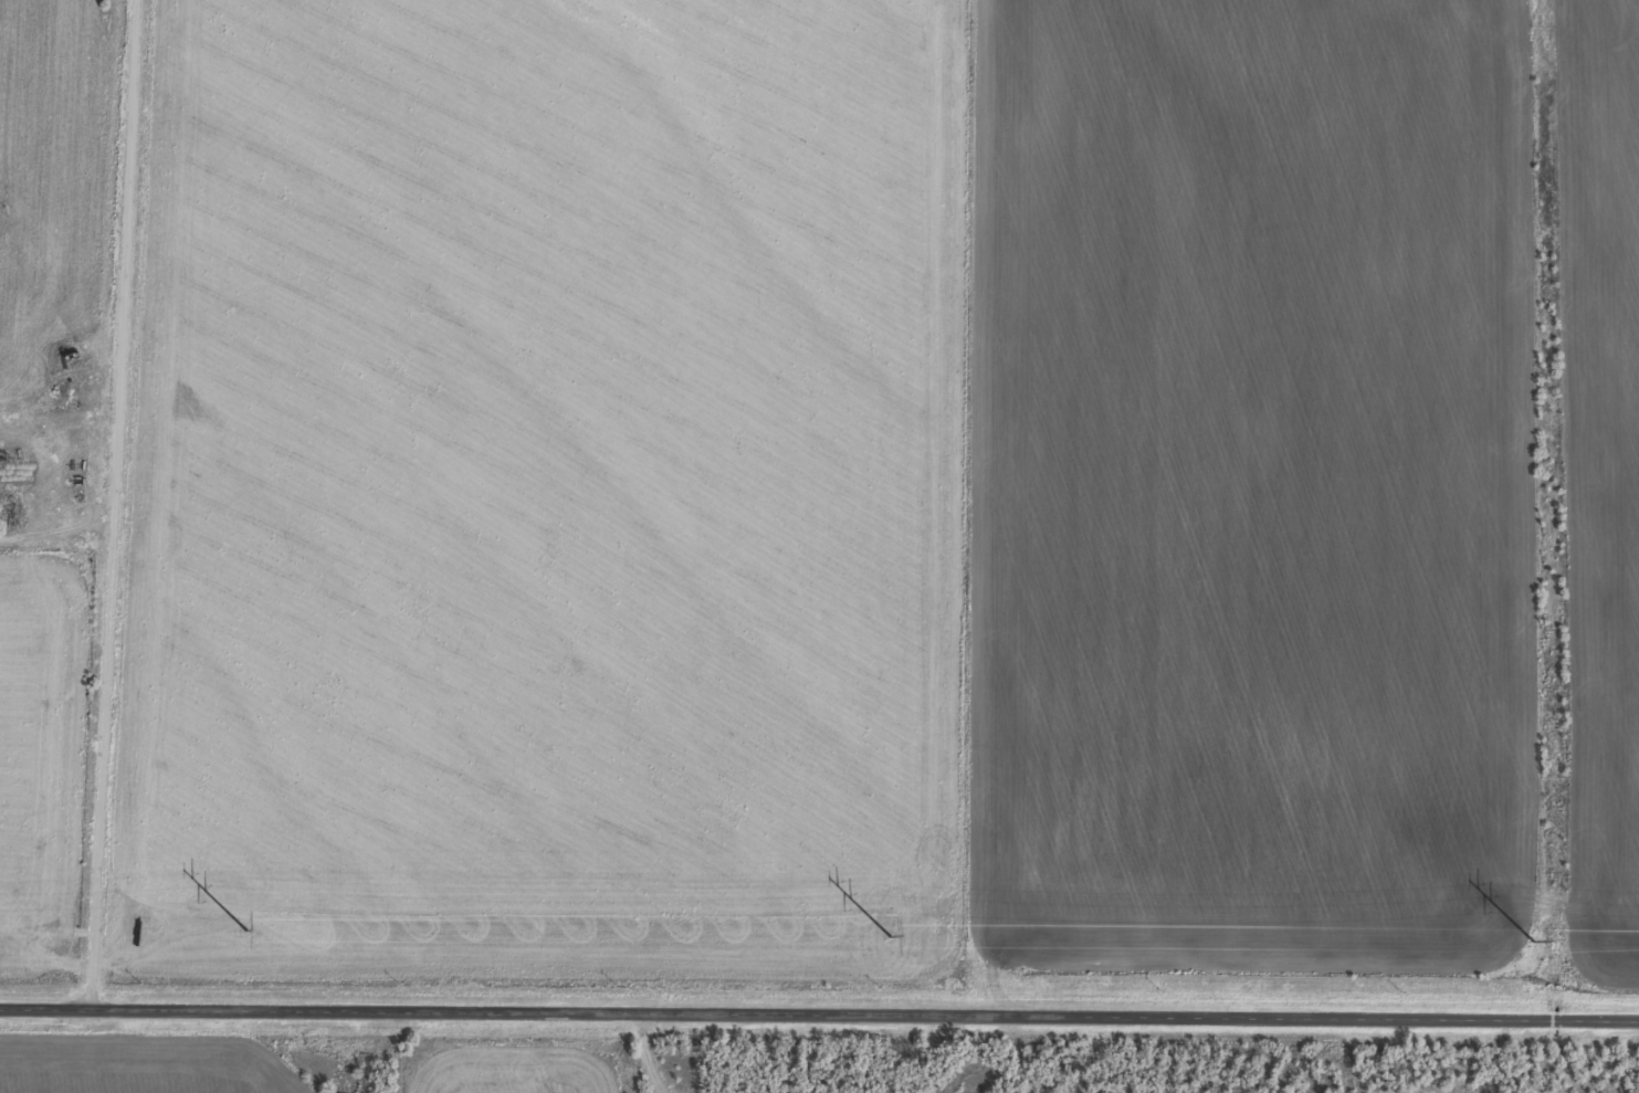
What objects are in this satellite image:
road: (819, 1007)

